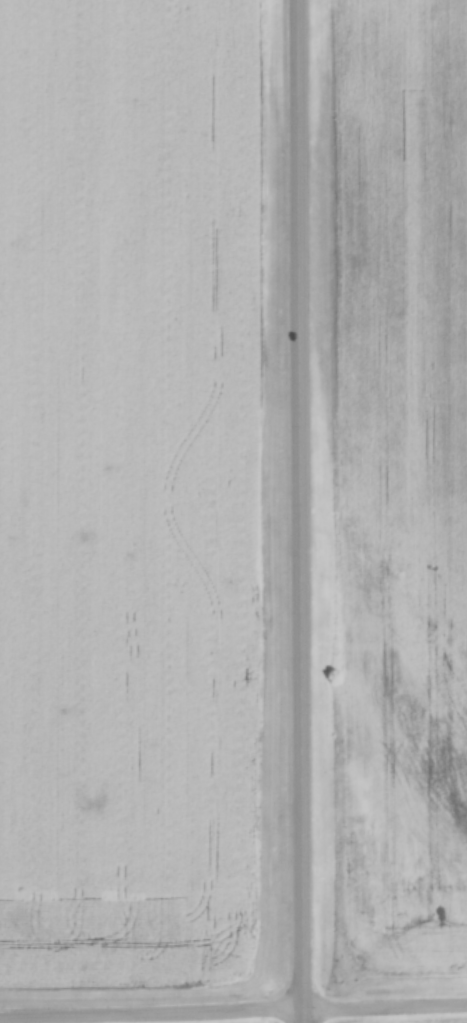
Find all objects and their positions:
road: (299, 511)
road: (233, 1013)

